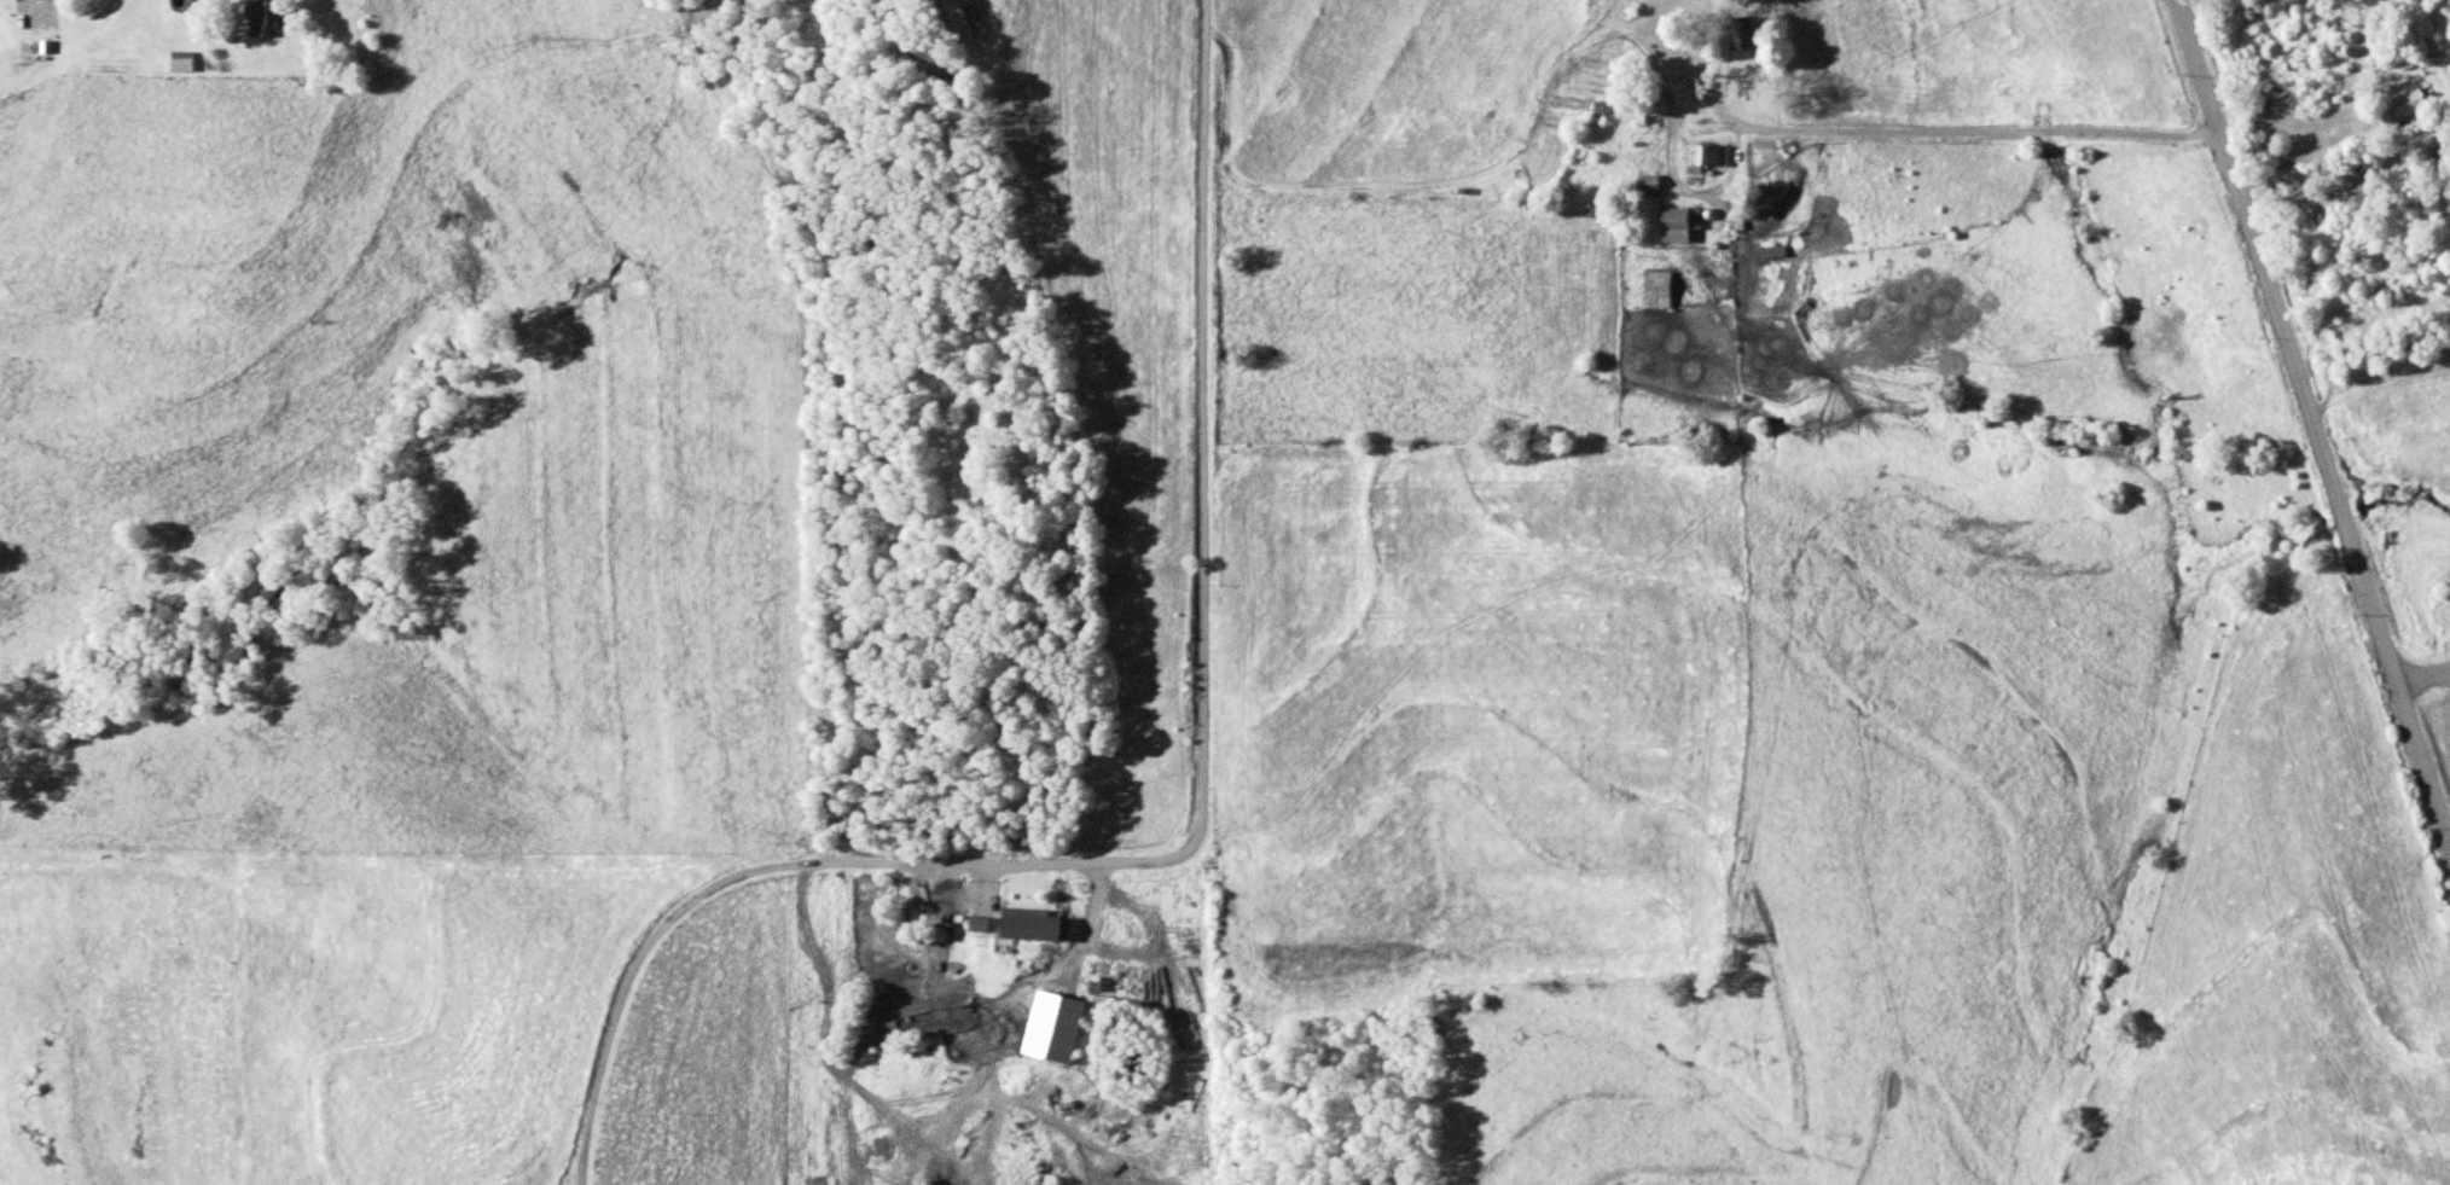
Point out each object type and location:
road: (1973, 134)
road: (2317, 413)
road: (1155, 798)

